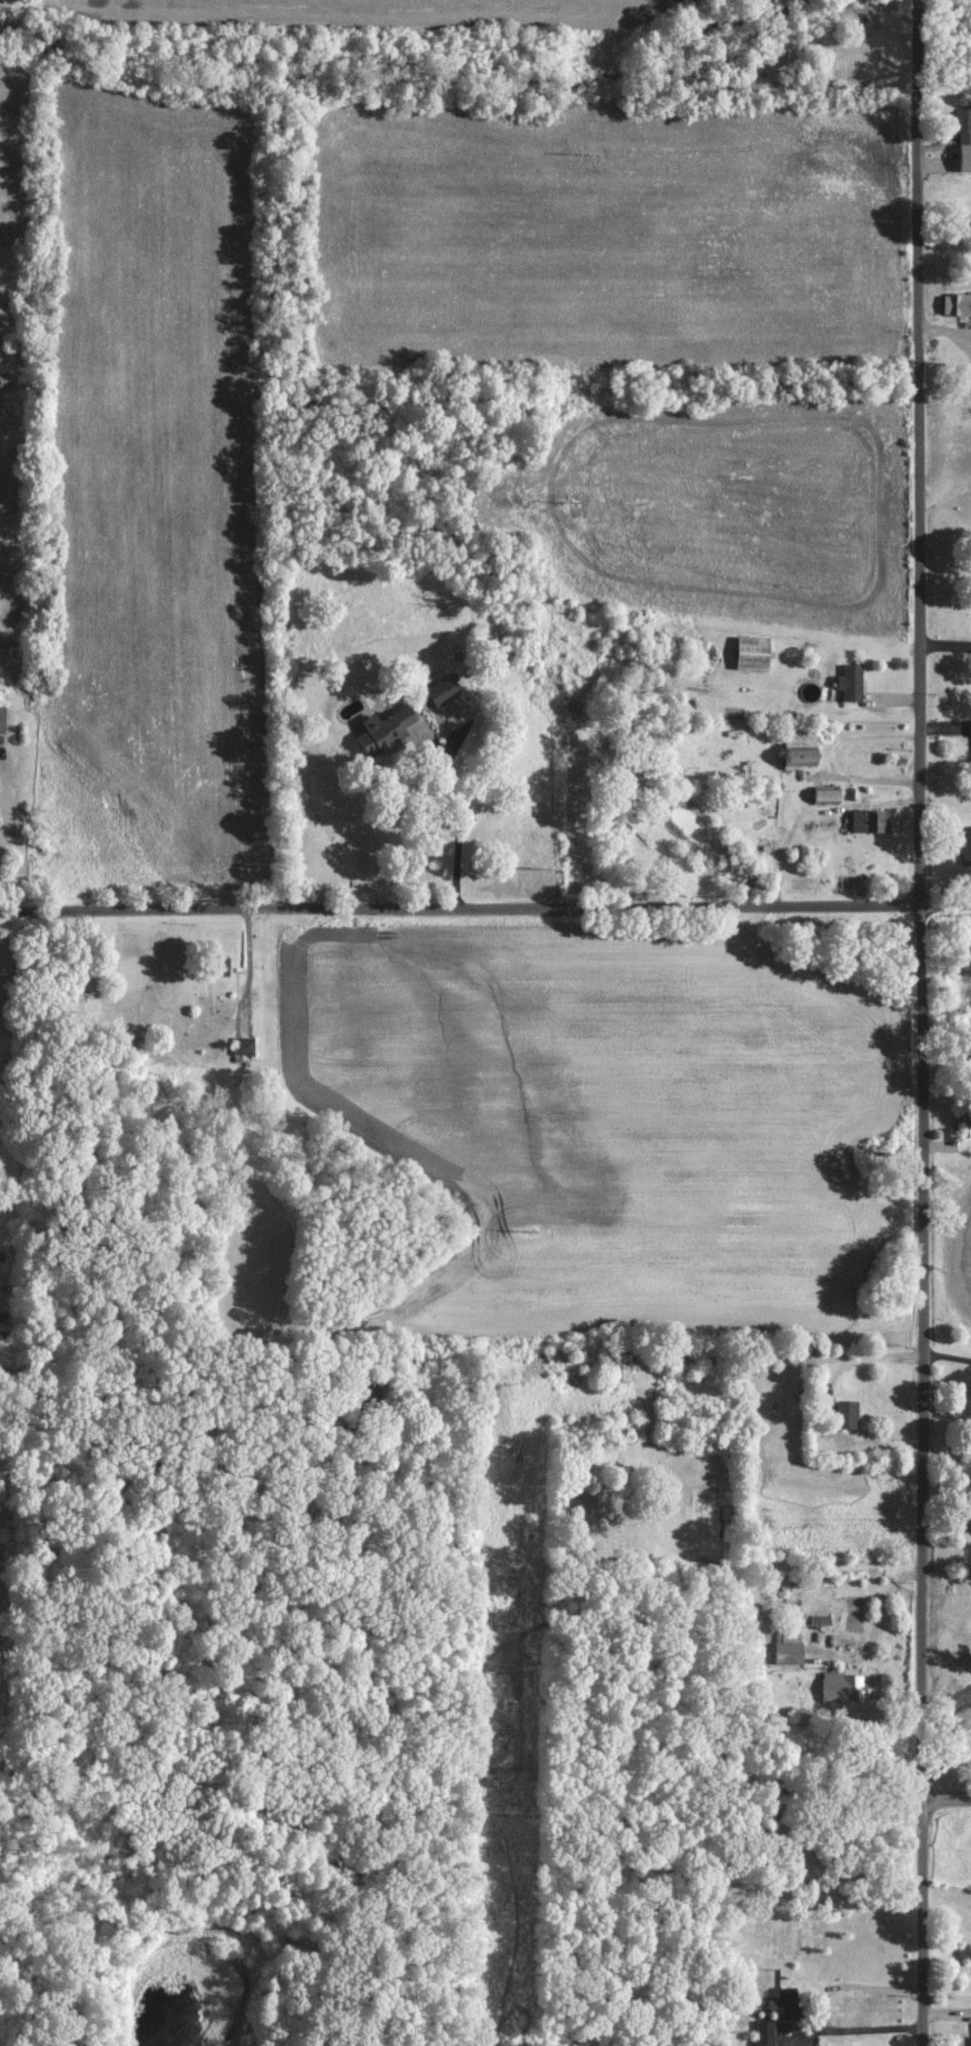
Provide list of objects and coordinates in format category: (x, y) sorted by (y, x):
building: (964, 123)
building: (959, 304)
road: (946, 644)
building: (755, 651)
building: (852, 681)
building: (445, 688)
building: (3, 718)
building: (388, 727)
building: (804, 747)
building: (829, 793)
building: (869, 819)
building: (966, 844)
road: (485, 906)
road: (248, 956)
road: (923, 1022)
building: (245, 1044)
building: (849, 1413)
road: (875, 1626)
building: (790, 1646)
building: (839, 1685)
road: (948, 1805)
building: (789, 2002)
building: (766, 2032)

